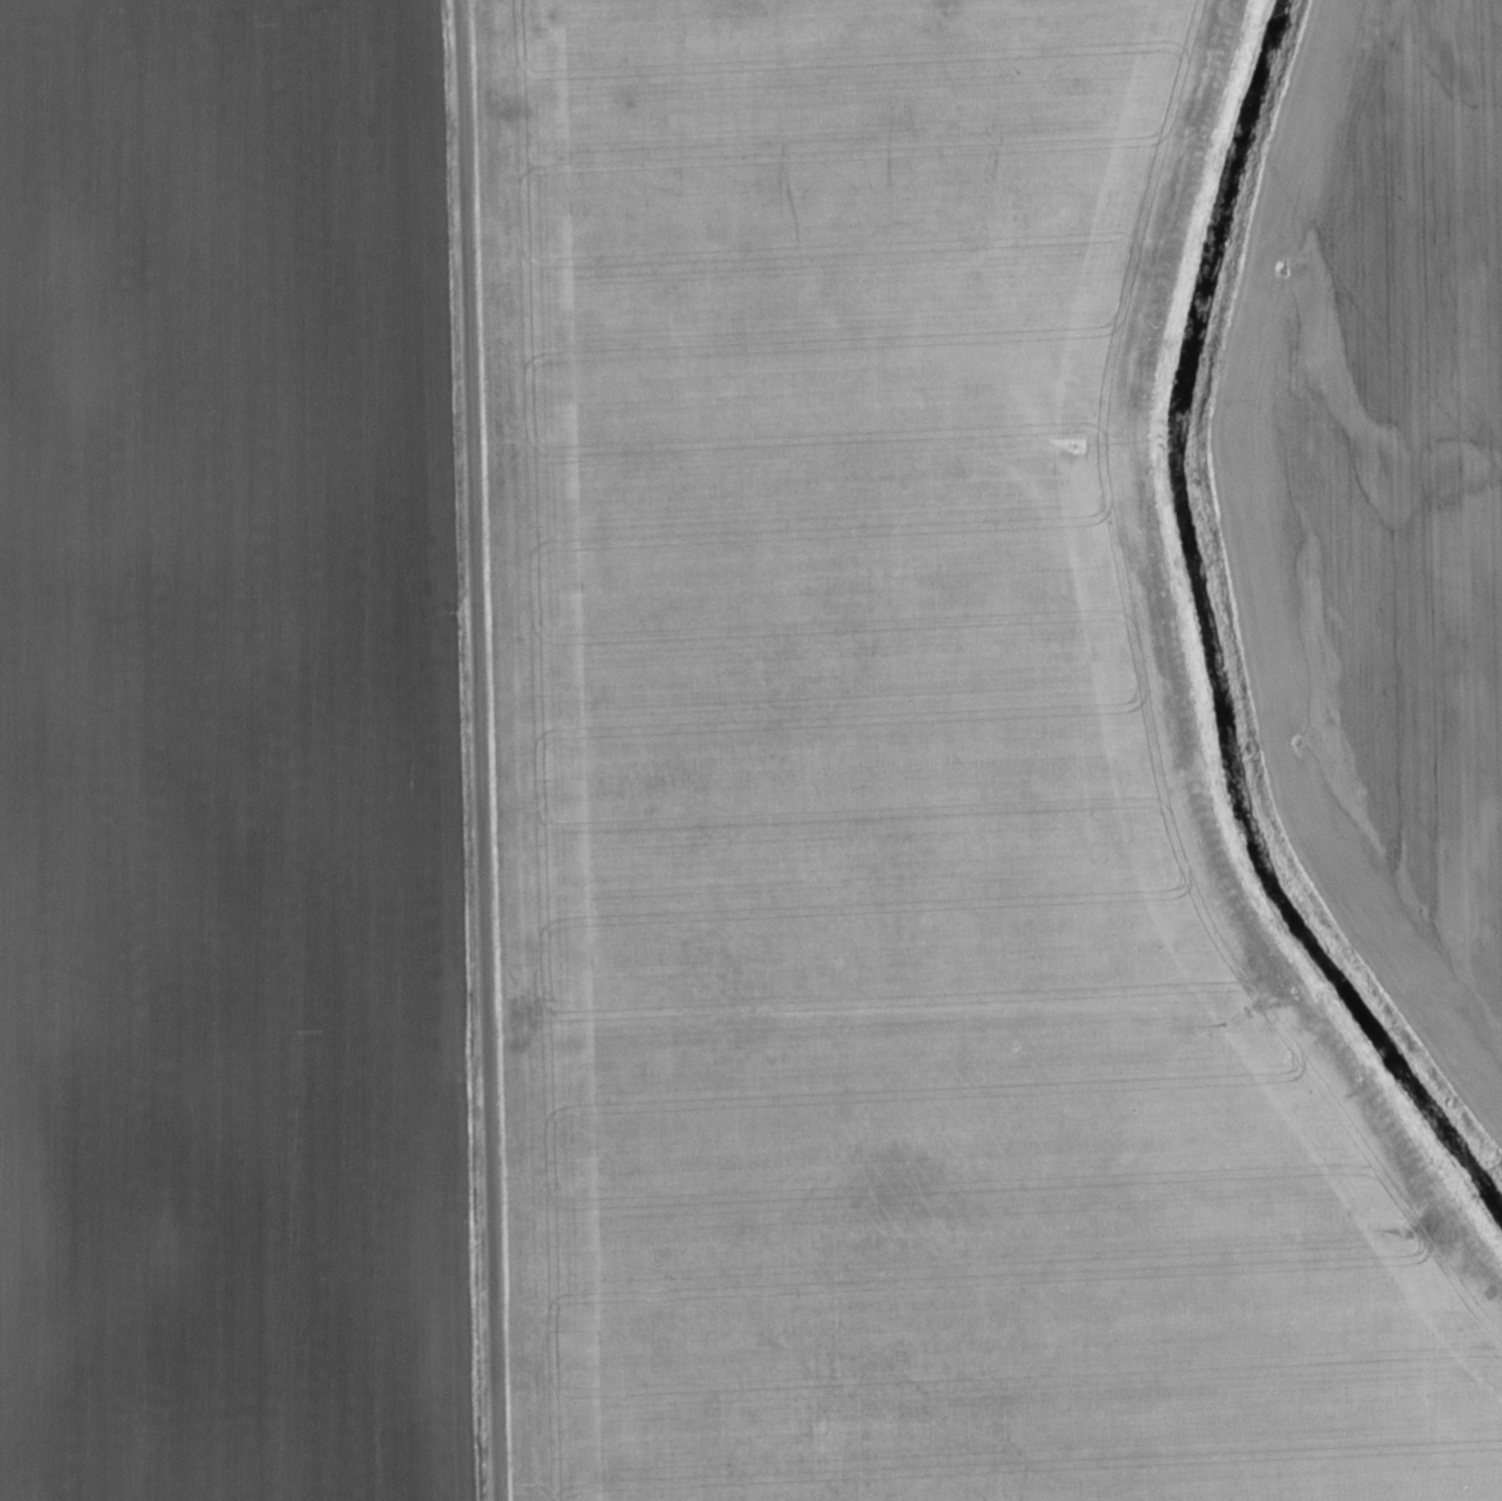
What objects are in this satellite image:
road: (470, 750)

